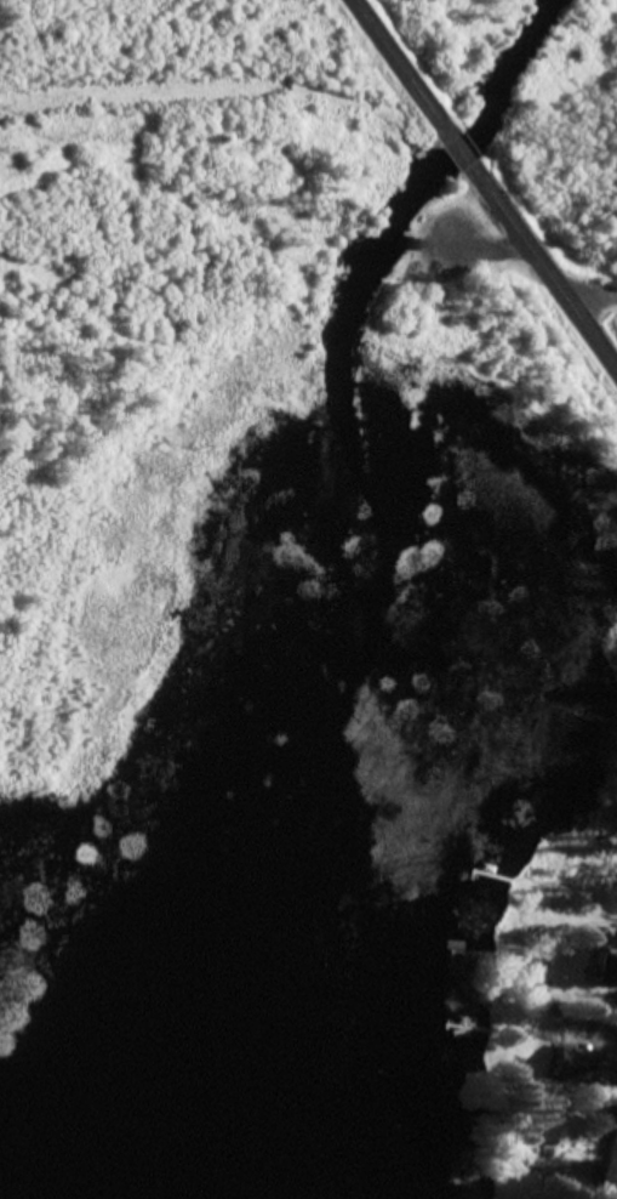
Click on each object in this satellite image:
road: (486, 183)
building: (610, 971)
building: (558, 1059)
building: (558, 1131)
road: (616, 1197)

